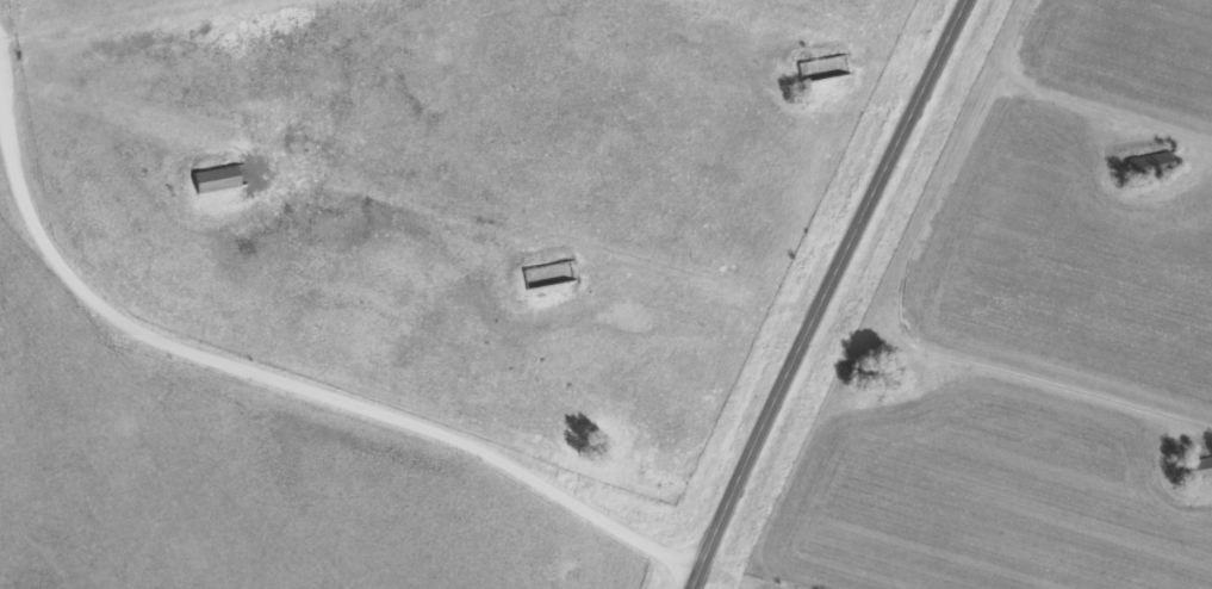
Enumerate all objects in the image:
road: (104, 17)
building: (814, 68)
road: (1111, 108)
building: (1150, 163)
building: (215, 178)
road: (826, 293)
road: (903, 310)
building: (874, 371)
road: (291, 385)
building: (1197, 467)

